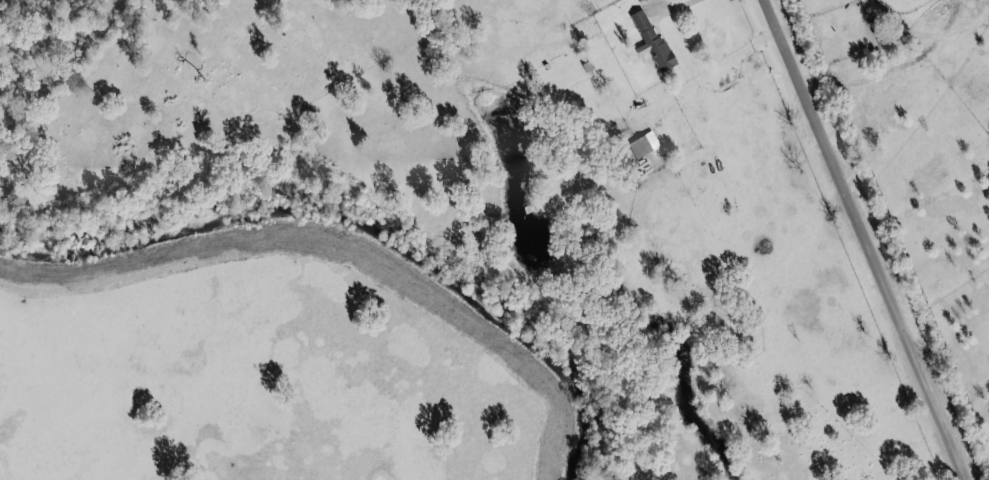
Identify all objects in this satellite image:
building: (651, 39)
building: (645, 144)
river: (359, 230)
road: (873, 240)

